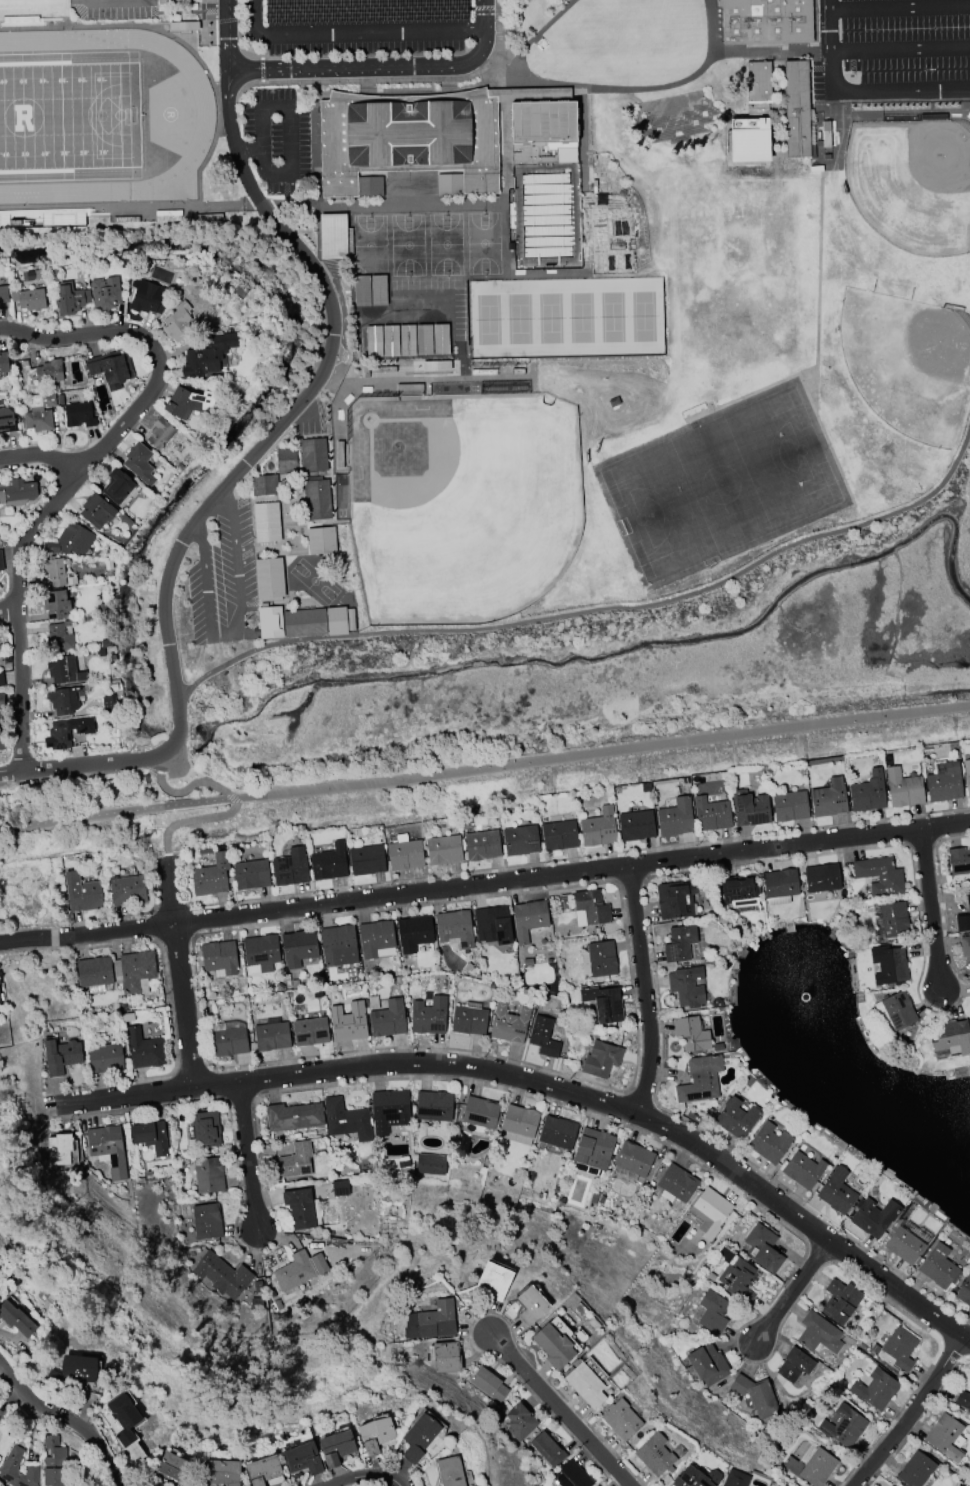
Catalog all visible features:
building: (172, 0)
road: (899, 6)
parking lot: (112, 10)
building: (364, 10)
road: (381, 10)
building: (766, 20)
road: (828, 24)
parking lot: (360, 25)
road: (355, 30)
road: (227, 34)
road: (237, 37)
road: (900, 45)
parking lot: (892, 49)
road: (382, 67)
road: (261, 70)
road: (391, 79)
road: (883, 91)
building: (797, 109)
track: (205, 111)
park: (69, 116)
road: (287, 116)
building: (754, 116)
building: (543, 132)
building: (826, 133)
building: (408, 136)
park: (912, 180)
park: (369, 231)
building: (332, 236)
park: (483, 243)
park: (445, 244)
park: (407, 245)
building: (370, 290)
building: (241, 291)
building: (105, 293)
building: (3, 294)
road: (374, 295)
building: (146, 297)
building: (28, 298)
building: (70, 299)
park: (643, 316)
parking lot: (417, 317)
park: (581, 317)
park: (611, 317)
park: (550, 318)
park: (488, 319)
park: (518, 319)
building: (177, 322)
building: (432, 339)
building: (390, 341)
building: (207, 356)
park: (909, 361)
building: (3, 362)
building: (110, 368)
building: (49, 372)
road: (415, 377)
building: (41, 400)
building: (188, 403)
building: (78, 415)
building: (6, 421)
building: (37, 421)
building: (160, 433)
building: (314, 453)
road: (39, 456)
building: (287, 458)
building: (139, 463)
road: (241, 466)
road: (75, 473)
building: (265, 483)
park: (720, 485)
building: (116, 486)
building: (17, 492)
building: (317, 497)
park: (461, 502)
building: (96, 511)
building: (267, 521)
building: (322, 538)
building: (71, 540)
building: (1, 561)
building: (54, 571)
parking lot: (223, 578)
building: (270, 578)
road: (6, 605)
building: (57, 605)
road: (596, 609)
road: (235, 620)
building: (337, 620)
building: (271, 621)
building: (304, 621)
building: (58, 639)
building: (63, 670)
building: (1, 680)
building: (63, 700)
building: (1, 701)
building: (63, 734)
building: (1, 737)
road: (163, 763)
road: (484, 765)
road: (12, 773)
building: (966, 776)
building: (944, 784)
road: (189, 787)
building: (902, 789)
building: (867, 792)
road: (232, 797)
building: (828, 799)
building: (789, 805)
building: (749, 809)
building: (710, 814)
building: (675, 818)
road: (190, 821)
building: (636, 825)
building: (598, 828)
road: (948, 829)
building: (558, 835)
building: (520, 841)
building: (482, 845)
building: (443, 850)
building: (403, 853)
road: (579, 857)
road: (160, 858)
building: (365, 859)
building: (958, 861)
building: (327, 863)
building: (289, 868)
road: (182, 872)
building: (250, 874)
building: (879, 875)
building: (210, 876)
building: (821, 878)
road: (154, 883)
building: (778, 886)
road: (462, 889)
building: (738, 890)
building: (128, 891)
building: (82, 894)
building: (674, 899)
road: (171, 906)
building: (589, 909)
road: (934, 913)
building: (964, 916)
building: (528, 919)
building: (894, 919)
road: (190, 920)
road: (77, 921)
road: (154, 925)
building: (490, 925)
building: (453, 928)
building: (414, 932)
building: (375, 937)
road: (174, 939)
building: (337, 942)
building: (679, 943)
building: (964, 946)
building: (298, 947)
road: (78, 948)
building: (260, 952)
building: (220, 957)
building: (600, 958)
building: (888, 965)
building: (134, 971)
road: (178, 973)
building: (94, 974)
building: (684, 989)
road: (644, 992)
building: (0, 1002)
building: (602, 1004)
building: (895, 1012)
building: (427, 1016)
building: (387, 1019)
building: (468, 1019)
road: (172, 1022)
building: (507, 1024)
building: (349, 1025)
building: (310, 1031)
building: (690, 1034)
building: (271, 1035)
building: (543, 1037)
building: (950, 1038)
building: (227, 1039)
road: (396, 1047)
building: (144, 1049)
building: (61, 1056)
building: (105, 1059)
building: (600, 1059)
building: (699, 1080)
road: (92, 1084)
road: (123, 1096)
road: (614, 1106)
building: (433, 1107)
building: (388, 1110)
building: (479, 1112)
road: (586, 1114)
building: (293, 1116)
building: (734, 1119)
building: (345, 1120)
building: (517, 1124)
building: (205, 1129)
building: (557, 1132)
building: (151, 1136)
building: (768, 1143)
building: (593, 1148)
building: (58, 1149)
building: (108, 1149)
road: (246, 1155)
building: (633, 1159)
building: (294, 1161)
building: (431, 1164)
building: (801, 1170)
building: (209, 1175)
building: (676, 1184)
building: (340, 1188)
building: (835, 1191)
building: (299, 1208)
building: (711, 1210)
building: (873, 1217)
building: (207, 1221)
building: (903, 1246)
building: (762, 1249)
building: (318, 1264)
building: (938, 1267)
building: (296, 1271)
building: (225, 1276)
building: (737, 1280)
building: (487, 1282)
building: (964, 1291)
road: (790, 1293)
building: (840, 1302)
building: (527, 1306)
building: (712, 1312)
road: (483, 1313)
building: (15, 1319)
building: (428, 1321)
building: (819, 1333)
building: (556, 1346)
building: (897, 1350)
building: (443, 1357)
building: (707, 1364)
building: (795, 1365)
building: (75, 1371)
building: (488, 1384)
building: (588, 1385)
building: (875, 1390)
building: (756, 1395)
building: (963, 1399)
road: (557, 1410)
road: (909, 1413)
building: (122, 1417)
road: (68, 1419)
building: (624, 1420)
road: (919, 1420)
building: (520, 1422)
building: (844, 1427)
building: (378, 1435)
building: (946, 1437)
building: (421, 1438)
building: (338, 1447)
building: (547, 1449)
building: (657, 1454)
building: (53, 1459)
building: (302, 1459)
building: (9, 1465)
building: (173, 1466)
building: (811, 1466)
building: (261, 1469)
building: (916, 1470)
building: (452, 1471)
building: (220, 1472)
road: (365, 1475)
building: (570, 1476)
building: (691, 1478)
building: (735, 1478)
building: (64, 1485)

